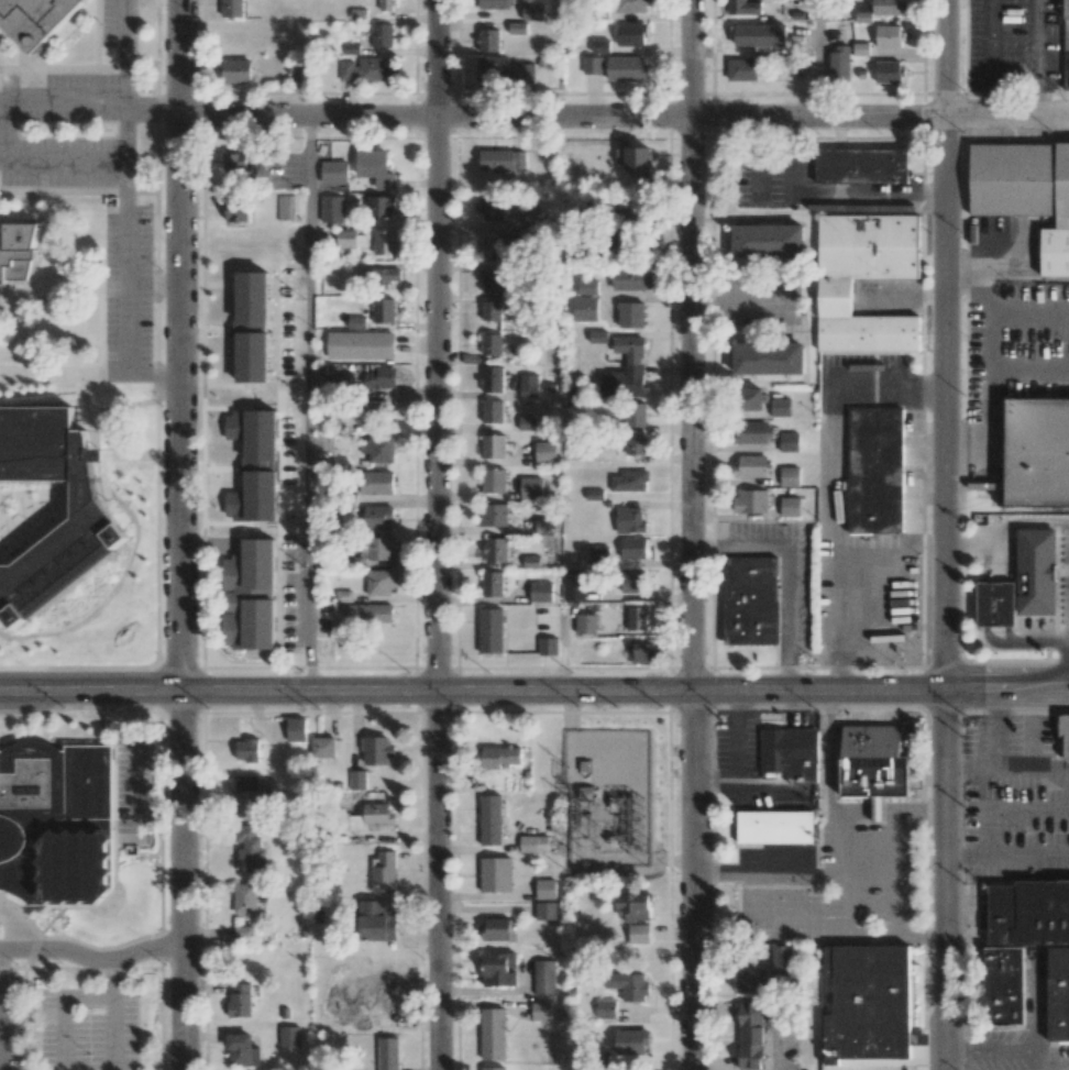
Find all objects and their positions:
building: (386, 4)
building: (493, 4)
building: (631, 5)
building: (743, 7)
building: (233, 8)
building: (886, 8)
building: (531, 11)
building: (863, 13)
building: (37, 19)
parking lot: (117, 24)
road: (129, 29)
building: (631, 34)
building: (382, 35)
building: (889, 36)
building: (230, 38)
building: (488, 40)
road: (989, 44)
road: (1036, 45)
building: (599, 46)
building: (1066, 46)
road: (820, 59)
building: (839, 64)
building: (593, 65)
building: (791, 67)
building: (366, 68)
building: (494, 68)
building: (626, 68)
building: (742, 69)
building: (236, 70)
building: (889, 71)
building: (516, 73)
road: (67, 100)
road: (988, 103)
road: (1037, 104)
road: (154, 117)
road: (625, 118)
parking lot: (8, 131)
road: (128, 132)
road: (7, 133)
building: (502, 159)
building: (240, 161)
building: (637, 161)
road: (757, 162)
road: (794, 163)
road: (67, 165)
building: (861, 165)
building: (375, 168)
building: (333, 172)
parking lot: (774, 173)
building: (1025, 195)
building: (379, 206)
building: (285, 207)
building: (238, 208)
building: (491, 208)
building: (331, 209)
building: (530, 216)
building: (527, 236)
building: (350, 239)
building: (384, 242)
building: (771, 242)
building: (498, 247)
building: (18, 253)
building: (381, 276)
building: (631, 278)
building: (493, 282)
road: (153, 284)
building: (587, 287)
road: (124, 290)
road: (2, 291)
parking lot: (126, 293)
road: (53, 297)
building: (835, 298)
building: (585, 308)
building: (383, 310)
building: (492, 310)
building: (631, 315)
building: (355, 322)
building: (252, 326)
building: (492, 344)
building: (360, 345)
building: (771, 361)
building: (626, 369)
road: (152, 375)
building: (381, 377)
building: (342, 379)
building: (493, 379)
building: (529, 386)
building: (751, 398)
road: (89, 400)
road: (309, 406)
building: (374, 407)
building: (781, 407)
building: (493, 411)
building: (635, 415)
building: (279, 417)
building: (527, 423)
building: (750, 432)
building: (789, 442)
building: (636, 445)
building: (494, 446)
building: (243, 448)
building: (381, 449)
building: (544, 452)
building: (1039, 453)
building: (750, 466)
building: (877, 470)
building: (790, 476)
building: (494, 481)
building: (629, 481)
building: (239, 482)
building: (376, 483)
building: (531, 487)
building: (284, 488)
building: (594, 494)
building: (751, 500)
building: (790, 506)
building: (282, 509)
building: (494, 515)
building: (232, 517)
building: (377, 517)
building: (629, 519)
building: (91, 522)
building: (544, 525)
road: (1005, 529)
road: (180, 534)
road: (438, 534)
road: (693, 534)
road: (944, 534)
building: (632, 548)
building: (376, 549)
building: (495, 550)
building: (598, 555)
road: (996, 559)
building: (531, 561)
road: (787, 572)
building: (1038, 572)
building: (379, 582)
building: (632, 582)
building: (493, 584)
building: (574, 586)
building: (540, 592)
building: (251, 596)
building: (749, 602)
building: (996, 603)
road: (996, 603)
building: (637, 618)
building: (586, 624)
building: (491, 630)
road: (1024, 640)
building: (548, 646)
building: (637, 652)
road: (471, 694)
road: (1005, 694)
building: (296, 729)
road: (1000, 730)
road: (1032, 730)
building: (1065, 733)
road: (738, 738)
building: (323, 747)
building: (787, 749)
building: (246, 750)
building: (376, 750)
building: (500, 757)
building: (874, 761)
road: (965, 769)
road: (985, 769)
building: (356, 780)
road: (716, 781)
road: (771, 793)
building: (246, 796)
power substation: (609, 796)
road: (1027, 807)
road: (828, 808)
building: (377, 814)
building: (491, 819)
building: (57, 826)
building: (776, 828)
building: (534, 843)
building: (250, 849)
road: (1006, 857)
road: (848, 871)
building: (384, 872)
road: (899, 872)
road: (771, 873)
building: (496, 874)
building: (545, 889)
building: (245, 898)
building: (633, 907)
road: (754, 907)
road: (800, 907)
building: (545, 911)
building: (1029, 913)
building: (376, 920)
building: (87, 925)
road: (18, 926)
building: (496, 928)
building: (244, 933)
building: (639, 934)
road: (895, 934)
road: (93, 959)
building: (781, 959)
building: (499, 969)
building: (544, 977)
building: (751, 980)
building: (628, 985)
building: (1005, 986)
building: (375, 990)
building: (1058, 995)
building: (240, 1000)
building: (869, 1006)
road: (63, 1011)
building: (541, 1011)
road: (115, 1014)
building: (386, 1017)
parking lot: (10, 1023)
parking lot: (88, 1029)
building: (493, 1034)
building: (289, 1036)
building: (750, 1036)
building: (631, 1040)
road: (987, 1049)
building: (242, 1050)
building: (387, 1054)
road: (1037, 1059)
building: (493, 1068)

